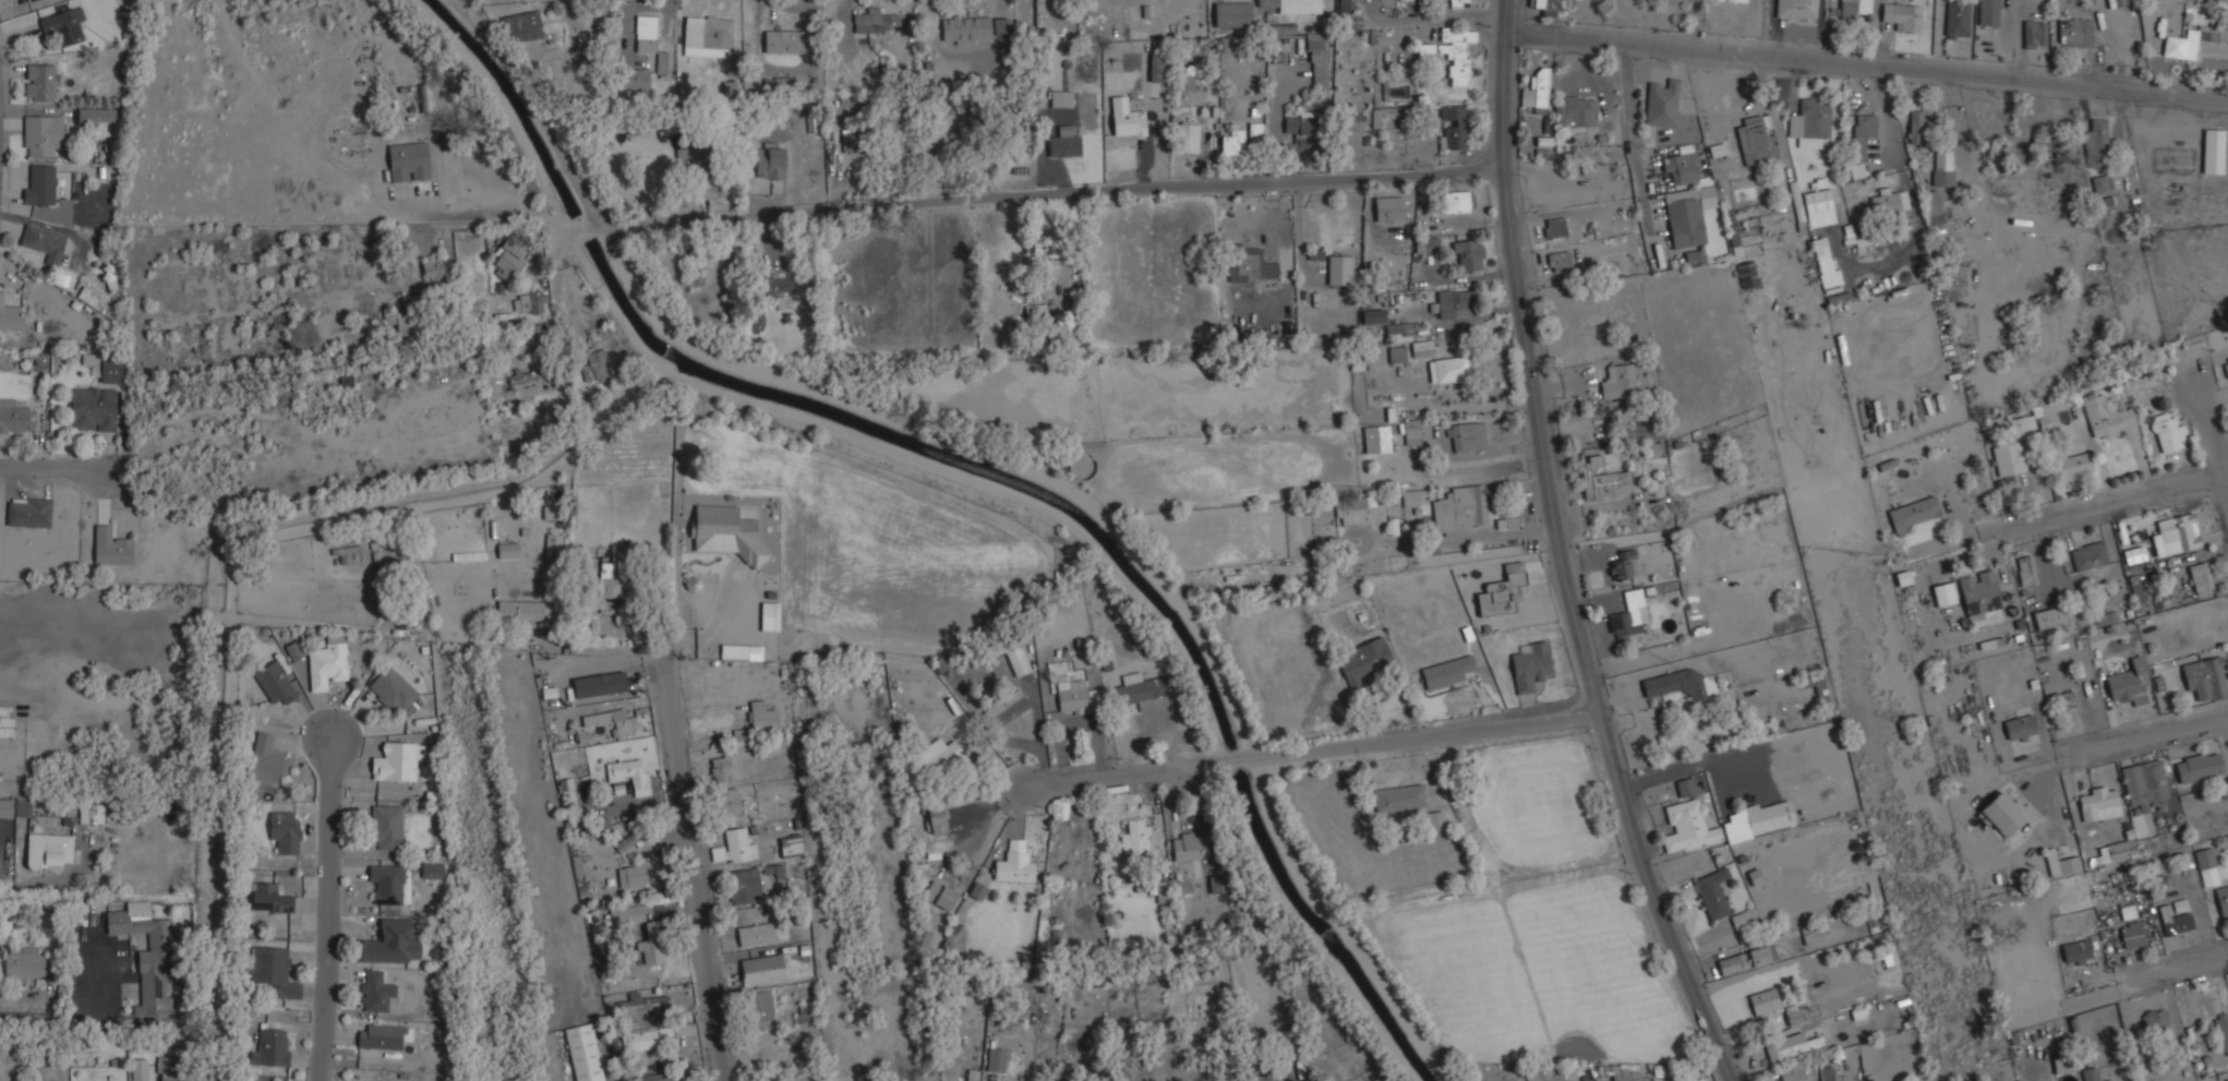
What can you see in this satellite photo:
building: (27, 0)
building: (31, 0)
building: (2123, 1)
building: (2219, 2)
building: (1458, 3)
building: (1291, 5)
building: (1344, 5)
building: (1547, 5)
building: (1795, 9)
building: (1855, 9)
building: (1038, 12)
building: (1988, 12)
building: (1231, 13)
building: (1902, 16)
building: (1956, 19)
building: (872, 21)
building: (63, 25)
building: (520, 26)
building: (1000, 26)
building: (970, 28)
building: (646, 32)
building: (2074, 33)
building: (2034, 34)
building: (2223, 34)
building: (707, 35)
building: (785, 40)
building: (2182, 44)
building: (1450, 52)
building: (1317, 60)
building: (661, 64)
road: (1869, 64)
building: (1157, 67)
building: (633, 77)
building: (782, 81)
building: (40, 82)
building: (1395, 91)
building: (1537, 91)
building: (424, 97)
building: (1661, 103)
road: (538, 108)
building: (1574, 111)
building: (96, 113)
building: (1809, 119)
building: (1128, 121)
building: (1453, 127)
building: (1916, 128)
building: (1255, 130)
building: (1300, 130)
building: (44, 134)
road: (1630, 134)
building: (1185, 136)
building: (1858, 136)
building: (850, 142)
building: (1755, 142)
building: (2045, 142)
building: (2096, 142)
building: (1064, 144)
building: (1232, 144)
building: (2213, 151)
building: (408, 161)
building: (769, 163)
building: (1941, 167)
building: (1681, 168)
building: (2100, 183)
building: (39, 185)
road: (1057, 194)
building: (1889, 201)
building: (1457, 202)
building: (2104, 202)
building: (1818, 203)
building: (1932, 207)
building: (1388, 208)
building: (1684, 221)
building: (1555, 227)
building: (1863, 241)
building: (43, 242)
building: (1425, 244)
building: (1044, 245)
building: (1468, 254)
building: (507, 261)
building: (1559, 261)
building: (1824, 261)
building: (1250, 264)
building: (432, 268)
building: (1338, 269)
building: (1746, 273)
building: (770, 288)
building: (87, 296)
building: (527, 302)
building: (1454, 302)
building: (8, 314)
building: (411, 316)
building: (1372, 316)
building: (758, 317)
building: (1035, 317)
building: (1397, 328)
building: (1421, 348)
building: (1396, 353)
building: (2227, 363)
building: (595, 364)
building: (1450, 369)
building: (110, 374)
building: (529, 374)
building: (1617, 381)
building: (2071, 398)
building: (93, 409)
building: (2046, 416)
building: (2106, 417)
building: (16, 420)
building: (2019, 424)
building: (1411, 432)
building: (1641, 432)
building: (2166, 432)
road: (2215, 433)
building: (1466, 436)
building: (1375, 439)
road: (904, 456)
building: (2008, 458)
road: (44, 459)
building: (2069, 465)
building: (1602, 479)
building: (1411, 496)
road: (2115, 504)
building: (1460, 508)
building: (1359, 511)
building: (28, 512)
building: (1913, 512)
building: (1393, 527)
building: (723, 532)
building: (110, 546)
building: (553, 549)
building: (508, 551)
road: (1554, 553)
building: (2133, 554)
building: (2088, 556)
building: (1624, 565)
road: (229, 569)
building: (2026, 569)
building: (2200, 578)
building: (1979, 588)
building: (610, 589)
building: (1501, 591)
building: (1943, 593)
building: (2137, 594)
building: (523, 611)
building: (1628, 614)
building: (769, 616)
building: (2049, 617)
building: (2105, 617)
road: (709, 627)
building: (740, 651)
building: (326, 661)
building: (1017, 661)
building: (1363, 663)
building: (1530, 665)
building: (1445, 671)
building: (2205, 678)
building: (274, 682)
building: (1676, 684)
building: (2128, 684)
building: (598, 685)
building: (1818, 687)
building: (390, 688)
building: (1143, 692)
building: (1075, 693)
road: (10, 694)
building: (2066, 700)
building: (1004, 707)
building: (761, 716)
building: (610, 721)
building: (7, 725)
building: (2020, 728)
road: (2147, 741)
road: (1313, 744)
building: (266, 758)
building: (940, 758)
building: (397, 761)
building: (2197, 766)
building: (719, 769)
building: (629, 774)
building: (2144, 782)
building: (1685, 786)
building: (566, 792)
building: (1398, 797)
building: (2096, 801)
building: (726, 803)
building: (5, 807)
building: (22, 807)
building: (89, 813)
building: (2002, 813)
building: (1759, 819)
building: (1434, 820)
building: (936, 821)
building: (385, 827)
building: (1687, 827)
building: (284, 831)
building: (1134, 836)
building: (627, 842)
building: (790, 845)
building: (1061, 845)
building: (1189, 845)
building: (734, 846)
building: (48, 850)
building: (2117, 850)
building: (1014, 863)
building: (2060, 863)
building: (2206, 866)
road: (688, 868)
building: (432, 869)
building: (630, 876)
road: (7, 884)
building: (386, 884)
building: (743, 886)
building: (977, 889)
building: (1163, 891)
building: (1711, 893)
building: (940, 897)
building: (267, 898)
building: (2221, 902)
road: (314, 911)
building: (2127, 911)
building: (626, 915)
building: (2176, 920)
building: (1738, 921)
building: (5, 926)
building: (2132, 934)
building: (755, 935)
building: (1810, 936)
building: (388, 942)
building: (652, 942)
building: (2075, 951)
building: (148, 959)
building: (1745, 959)
building: (23, 960)
building: (761, 970)
building: (273, 971)
road: (2165, 972)
building: (376, 990)
building: (1763, 1001)
building: (638, 1004)
building: (758, 1006)
road: (36, 1012)
building: (2154, 1022)
building: (2221, 1031)
building: (383, 1036)
building: (1791, 1037)
building: (640, 1041)
building: (270, 1047)
building: (582, 1053)
building: (997, 1058)
building: (2061, 1064)
building: (137, 1069)
building: (169, 1070)
building: (1792, 1071)
building: (1625, 1072)
building: (2089, 1073)
building: (1826, 1074)
building: (655, 1077)

